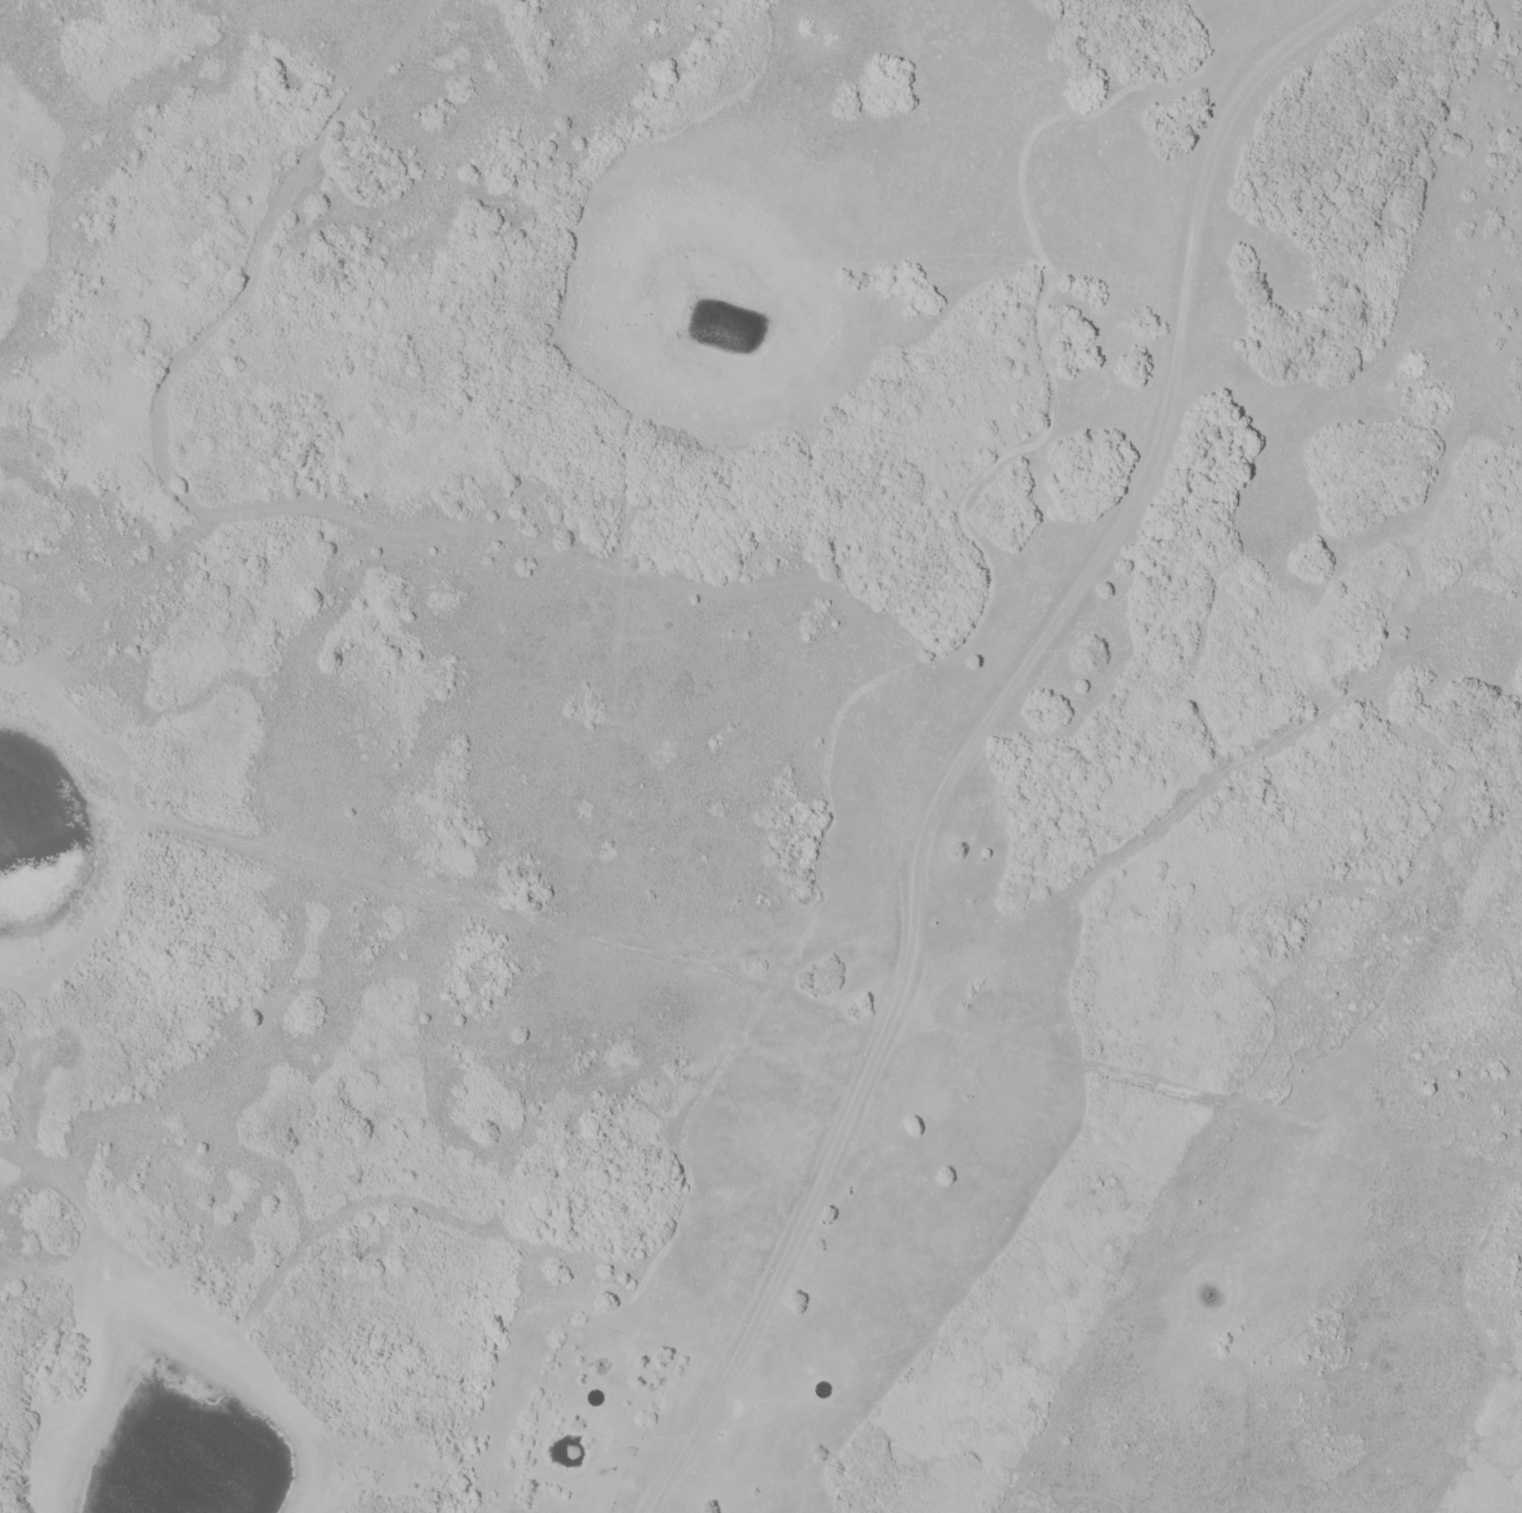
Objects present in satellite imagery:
road: (986, 739)

